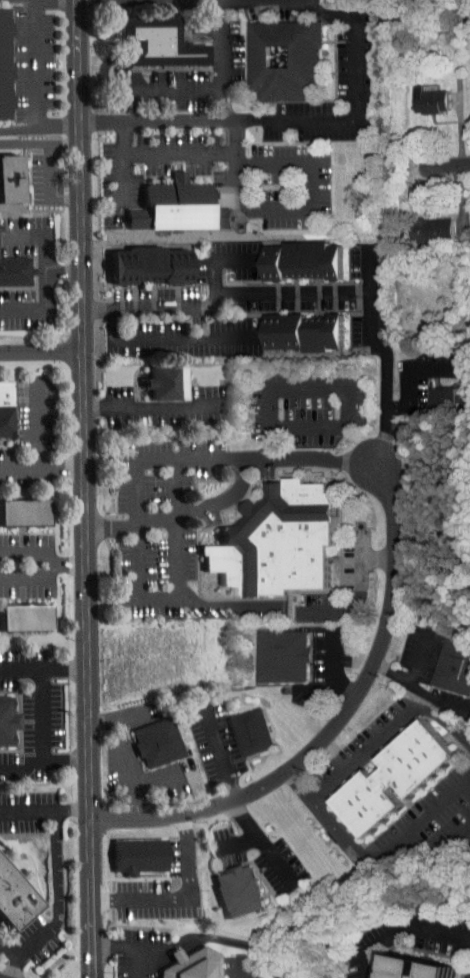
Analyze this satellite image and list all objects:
building: (154, 43)
building: (282, 56)
road: (222, 59)
road: (39, 64)
building: (6, 65)
road: (134, 90)
road: (173, 90)
building: (464, 93)
building: (416, 94)
road: (357, 109)
road: (154, 119)
road: (42, 128)
road: (41, 143)
road: (181, 153)
road: (444, 164)
building: (10, 178)
road: (127, 178)
road: (50, 188)
building: (179, 207)
road: (304, 208)
building: (466, 222)
building: (418, 223)
road: (220, 259)
building: (303, 259)
building: (153, 264)
road: (367, 267)
building: (15, 270)
road: (66, 271)
road: (50, 277)
road: (313, 289)
road: (201, 323)
building: (303, 333)
road: (166, 340)
road: (42, 353)
road: (407, 372)
building: (167, 383)
road: (330, 386)
building: (429, 392)
road: (152, 406)
building: (6, 411)
road: (42, 424)
road: (156, 458)
road: (43, 469)
road: (241, 482)
road: (86, 489)
building: (22, 512)
building: (279, 541)
road: (45, 554)
road: (33, 574)
road: (181, 583)
road: (356, 593)
road: (228, 606)
building: (23, 617)
building: (281, 656)
road: (418, 657)
road: (44, 667)
building: (452, 667)
road: (334, 669)
road: (421, 689)
road: (326, 693)
road: (45, 715)
road: (106, 719)
building: (4, 722)
road: (339, 723)
building: (251, 733)
building: (157, 741)
road: (124, 749)
road: (222, 751)
road: (44, 764)
building: (393, 779)
road: (300, 786)
road: (317, 796)
road: (140, 797)
road: (28, 811)
road: (73, 811)
road: (425, 815)
road: (240, 842)
road: (261, 843)
building: (141, 855)
parking lot: (56, 868)
road: (59, 891)
building: (238, 891)
road: (183, 897)
building: (13, 900)
road: (415, 925)
road: (226, 939)
road: (129, 948)
road: (11, 950)
road: (140, 963)
road: (364, 964)
road: (17, 965)
building: (194, 965)
road: (240, 967)
building: (418, 968)

